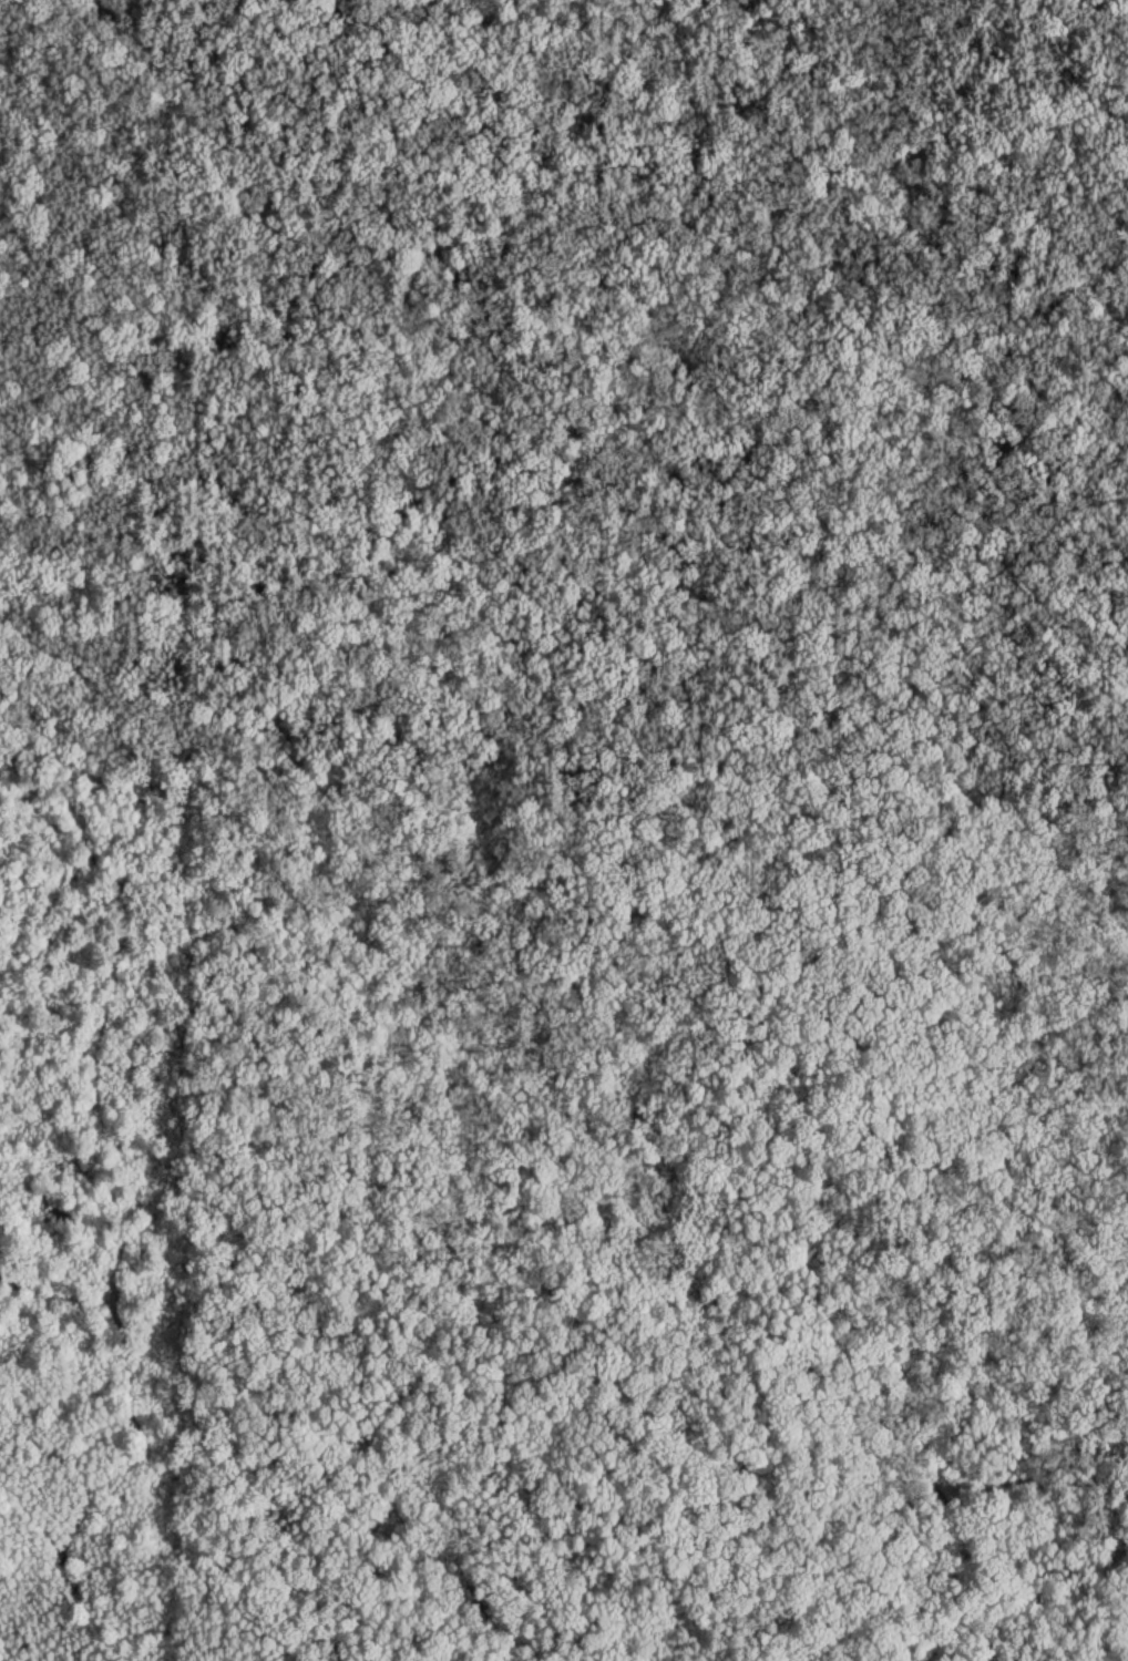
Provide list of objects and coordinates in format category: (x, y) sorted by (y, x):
road: (1030, 1034)

